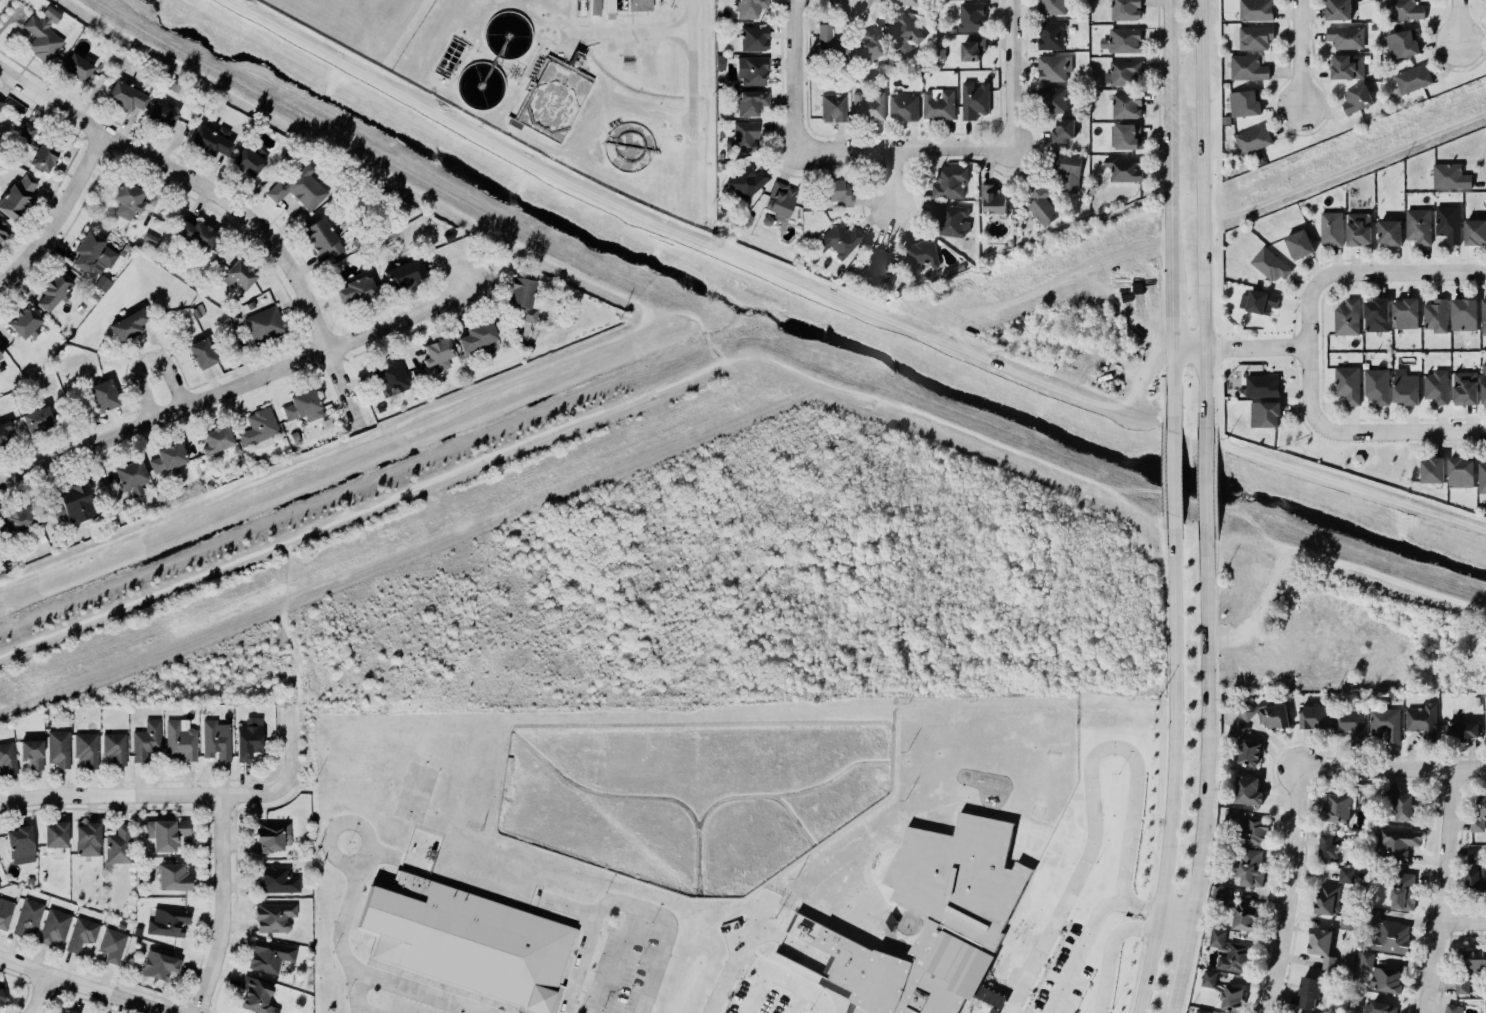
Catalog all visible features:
building: (911, 2)
building: (639, 5)
building: (594, 7)
building: (1052, 7)
building: (749, 8)
building: (610, 9)
building: (1126, 9)
building: (1256, 10)
building: (1338, 10)
building: (1404, 10)
building: (972, 16)
road: (1457, 21)
building: (953, 31)
building: (903, 32)
building: (43, 34)
building: (1052, 35)
building: (754, 37)
building: (1255, 38)
building: (1346, 38)
building: (1123, 40)
building: (829, 43)
building: (1402, 44)
road: (145, 45)
building: (868, 46)
building: (973, 48)
road: (1298, 52)
building: (941, 53)
building: (450, 57)
building: (575, 60)
road: (691, 60)
building: (721, 61)
building: (78, 66)
building: (1347, 66)
building: (1054, 68)
building: (1248, 68)
building: (752, 69)
road: (1011, 71)
road: (795, 72)
building: (1124, 72)
building: (926, 74)
building: (1413, 78)
building: (173, 87)
building: (126, 95)
building: (1055, 98)
building: (975, 99)
building: (1357, 99)
building: (750, 101)
building: (1, 102)
building: (1245, 104)
building: (869, 105)
building: (939, 105)
building: (1127, 105)
building: (833, 106)
building: (904, 107)
building: (164, 114)
building: (1063, 130)
road: (468, 131)
road: (313, 135)
road: (1169, 135)
building: (743, 136)
building: (1126, 136)
building: (212, 140)
building: (1253, 140)
road: (905, 146)
building: (38, 148)
building: (250, 158)
building: (1067, 168)
building: (1124, 169)
building: (1450, 177)
building: (746, 181)
building: (951, 182)
road: (899, 185)
building: (300, 188)
building: (837, 191)
building: (17, 197)
building: (128, 199)
road: (226, 199)
building: (993, 199)
building: (780, 200)
building: (1041, 202)
road: (63, 217)
building: (952, 218)
road: (1204, 221)
building: (1448, 223)
building: (1418, 226)
building: (3, 228)
building: (1331, 229)
building: (1359, 229)
building: (1475, 232)
building: (1390, 233)
building: (202, 235)
building: (323, 236)
building: (150, 239)
building: (839, 239)
building: (1299, 245)
road: (527, 249)
building: (93, 253)
building: (921, 254)
building: (1270, 264)
building: (881, 265)
road: (1412, 270)
building: (242, 273)
building: (405, 274)
building: (101, 282)
road: (713, 286)
building: (55, 289)
building: (357, 289)
building: (94, 296)
building: (523, 296)
building: (1262, 302)
building: (250, 304)
road: (1171, 309)
building: (196, 312)
road: (673, 313)
building: (1405, 313)
road: (877, 314)
building: (1436, 315)
building: (1464, 315)
building: (1375, 316)
building: (1483, 316)
building: (1347, 317)
building: (26, 321)
building: (264, 323)
building: (129, 324)
park: (772, 335)
building: (478, 336)
road: (714, 345)
road: (1240, 347)
road: (1309, 348)
building: (203, 352)
building: (439, 353)
building: (0, 356)
building: (0, 357)
road: (148, 361)
building: (391, 374)
road: (810, 383)
building: (1483, 383)
building: (1347, 384)
road: (236, 385)
building: (1263, 385)
building: (1377, 385)
building: (1436, 387)
building: (1465, 388)
road: (1172, 389)
building: (1406, 389)
building: (105, 395)
road: (622, 402)
road: (1106, 404)
building: (304, 405)
road: (443, 405)
building: (379, 408)
building: (1264, 414)
building: (39, 419)
building: (258, 426)
road: (1410, 431)
road: (966, 432)
building: (5, 434)
building: (294, 437)
building: (217, 439)
building: (282, 440)
park: (1355, 456)
building: (168, 458)
building: (1358, 461)
building: (1433, 471)
building: (1461, 472)
road: (1171, 473)
building: (132, 476)
building: (1481, 477)
road: (1206, 483)
road: (1097, 488)
road: (212, 500)
building: (74, 503)
road: (1137, 509)
building: (17, 520)
road: (324, 522)
building: (41, 538)
road: (94, 547)
road: (1349, 564)
road: (1207, 619)
road: (69, 626)
building: (1267, 715)
building: (1312, 718)
building: (1421, 720)
building: (1350, 724)
building: (1385, 724)
building: (1485, 726)
building: (1238, 730)
building: (1462, 732)
building: (249, 738)
building: (145, 740)
building: (216, 740)
building: (179, 742)
building: (114, 747)
building: (58, 748)
building: (86, 749)
building: (1247, 753)
building: (32, 754)
building: (7, 758)
road: (1172, 766)
road: (1391, 771)
road: (1090, 778)
building: (1246, 791)
road: (183, 795)
building: (1400, 804)
building: (1337, 809)
building: (1479, 814)
road: (1202, 820)
building: (1248, 827)
building: (165, 832)
road: (328, 833)
building: (57, 834)
building: (273, 836)
building: (87, 838)
building: (21, 844)
building: (118, 845)
building: (1398, 845)
building: (1329, 848)
building: (1474, 856)
building: (1251, 868)
building: (1346, 874)
building: (174, 876)
building: (277, 879)
building: (29, 881)
building: (1475, 881)
building: (1403, 892)
road: (1442, 892)
road: (1291, 893)
building: (1221, 896)
building: (1327, 899)
road: (558, 903)
road: (626, 904)
road: (221, 905)
building: (5, 912)
building: (273, 916)
building: (1245, 916)
building: (27, 917)
building: (938, 920)
building: (168, 921)
building: (1346, 921)
road: (1174, 923)
road: (1462, 925)
building: (54, 927)
building: (136, 931)
building: (81, 934)
building: (1389, 935)
road: (338, 938)
building: (469, 943)
building: (112, 944)
road: (1081, 944)
building: (1320, 946)
road: (1110, 951)
building: (1229, 952)
building: (269, 955)
road: (735, 957)
building: (1476, 959)
road: (617, 960)
building: (159, 965)
road: (1181, 968)
building: (1377, 973)
parking lot: (1062, 977)
road: (784, 979)
building: (1462, 985)
road: (79, 987)
building: (1224, 990)
building: (1308, 990)
road: (416, 992)
road: (39, 995)
building: (256, 995)
building: (2, 997)
building: (1382, 1008)
building: (1451, 1008)
building: (67, 1010)
building: (1201, 1011)
road: (1171, 1012)
building: (1365, 1012)

